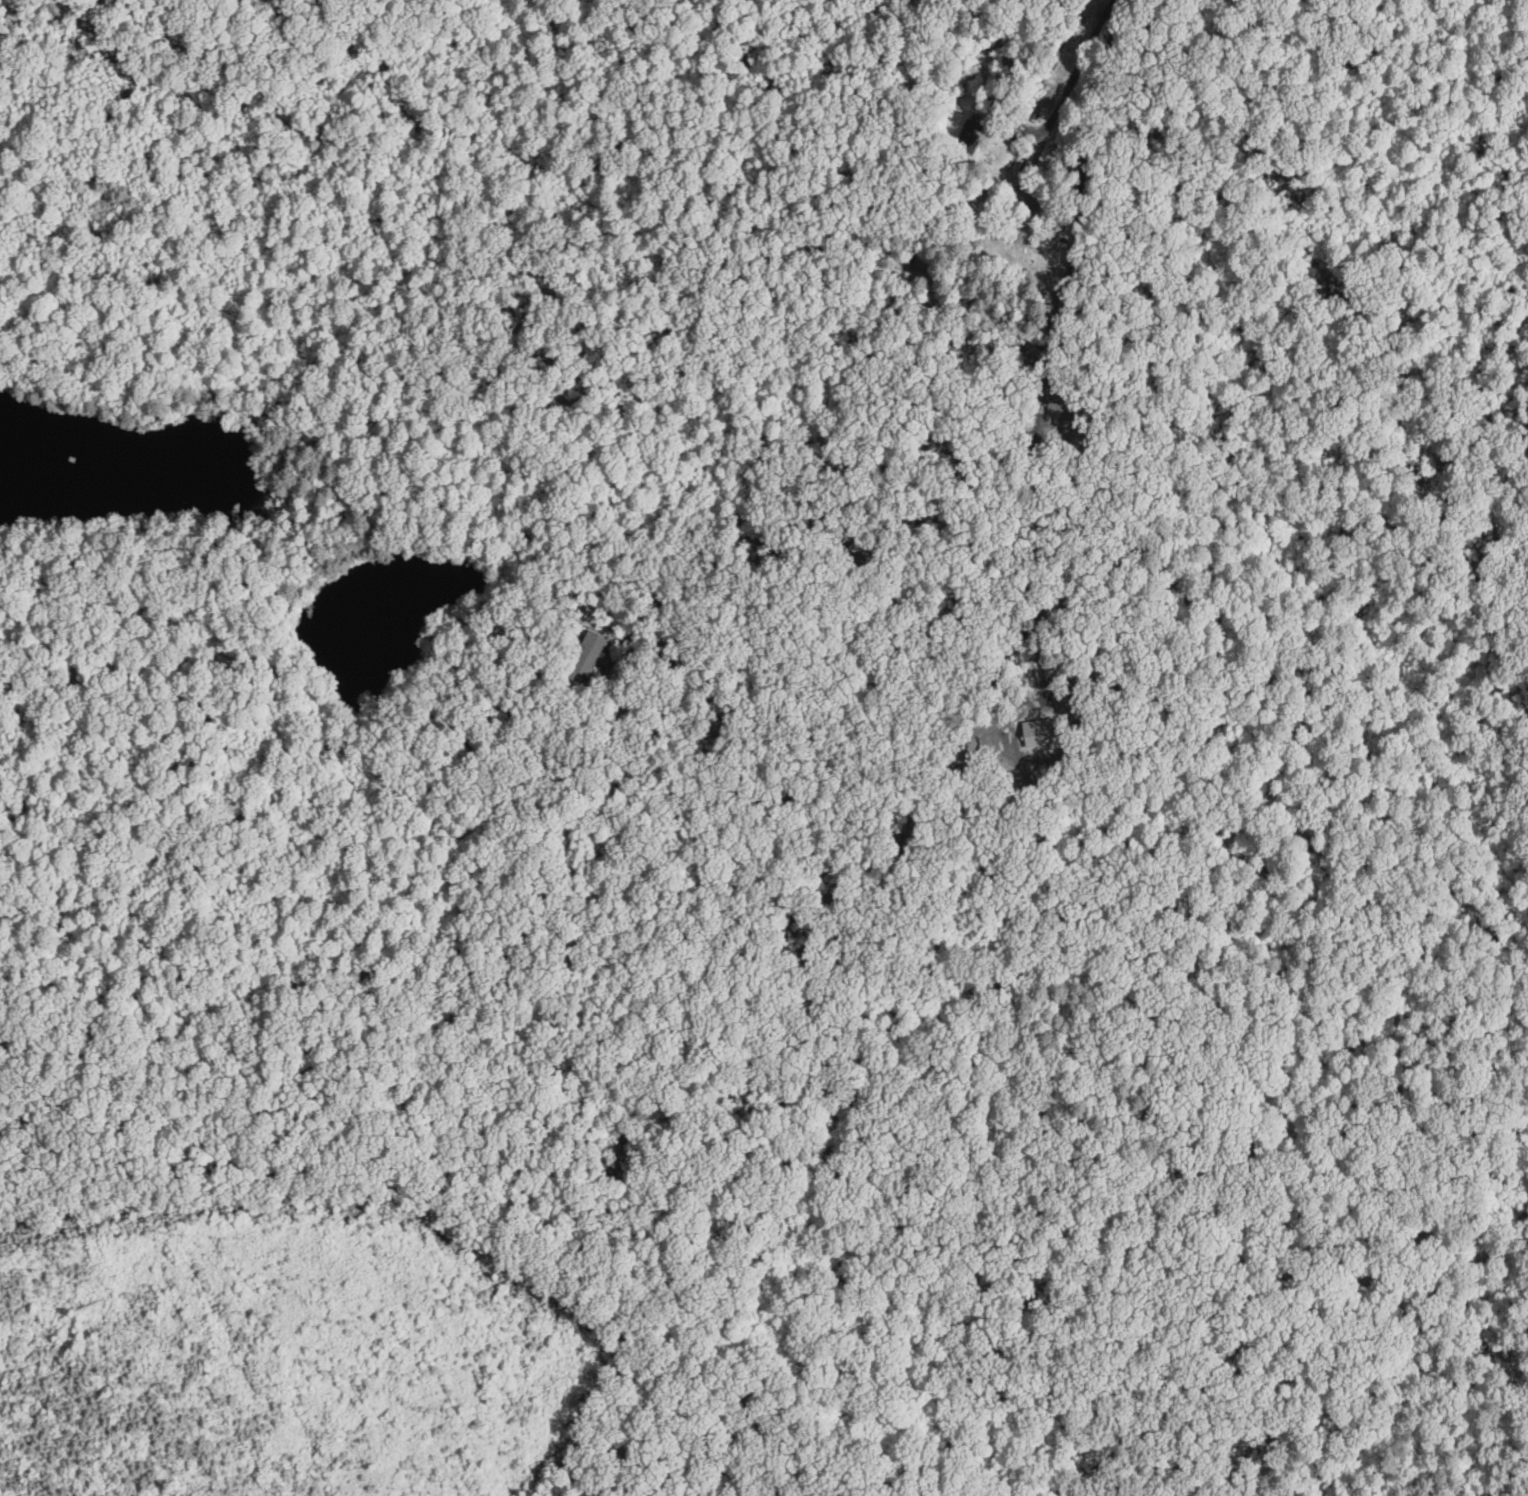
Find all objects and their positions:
road: (1066, 97)
road: (1031, 127)
building: (974, 136)
building: (1021, 234)
road: (1071, 275)
road: (704, 311)
building: (594, 653)
road: (876, 721)

